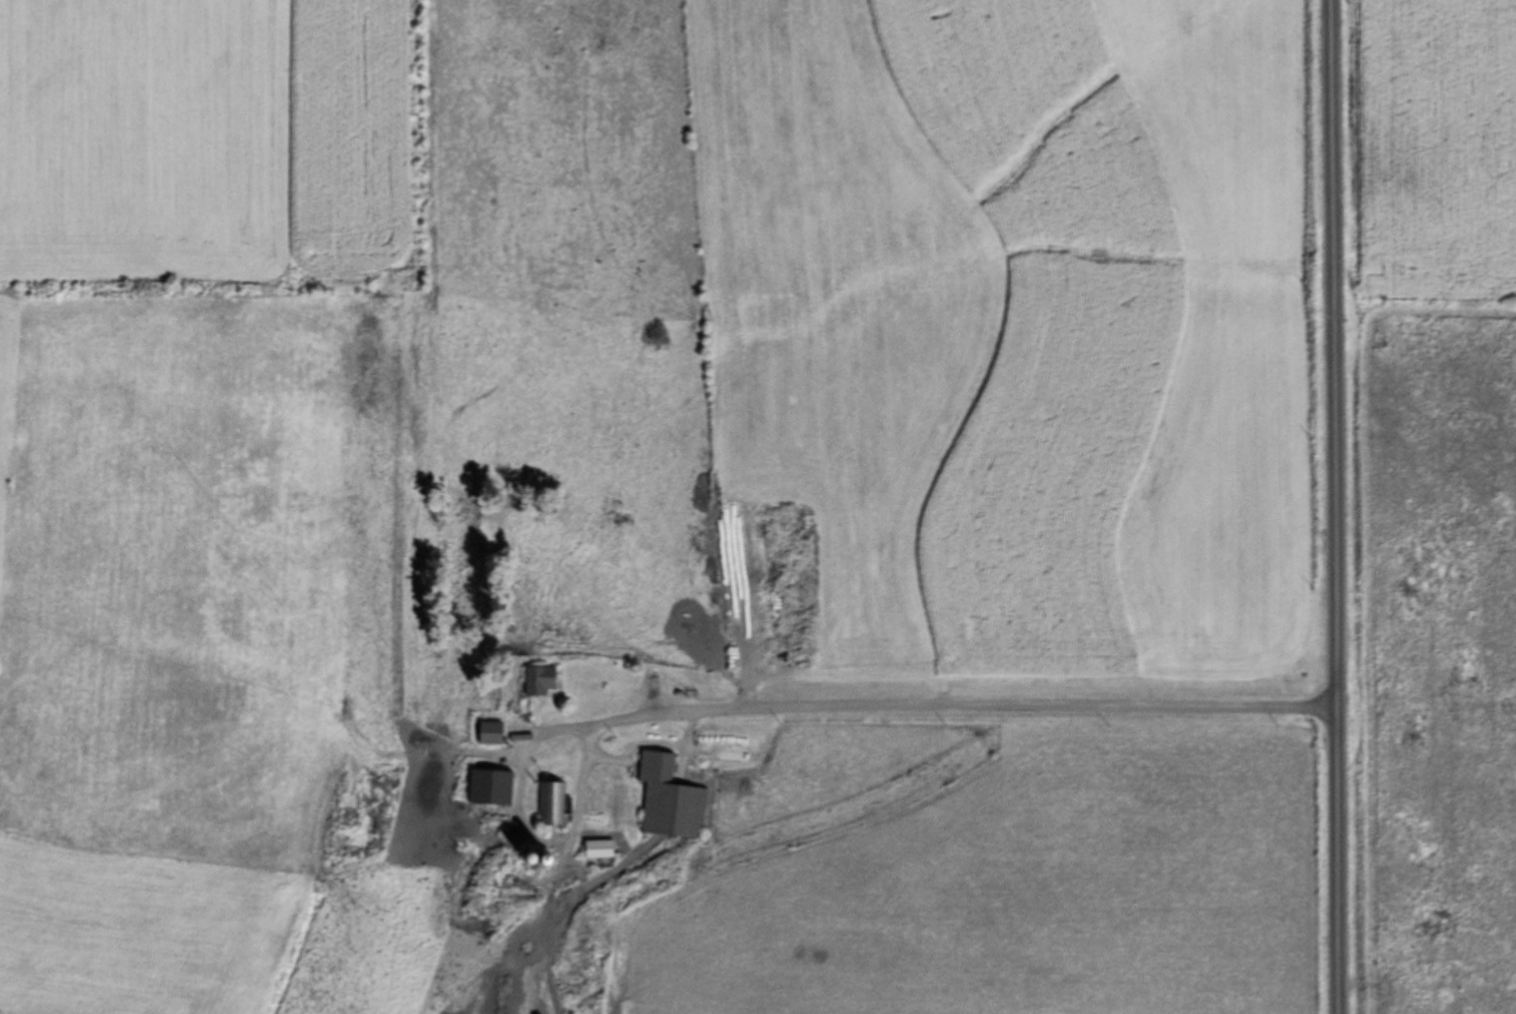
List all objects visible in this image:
road: (1328, 507)
building: (541, 681)
road: (946, 692)
building: (491, 734)
building: (491, 789)
building: (670, 800)
building: (550, 805)
building: (599, 849)

